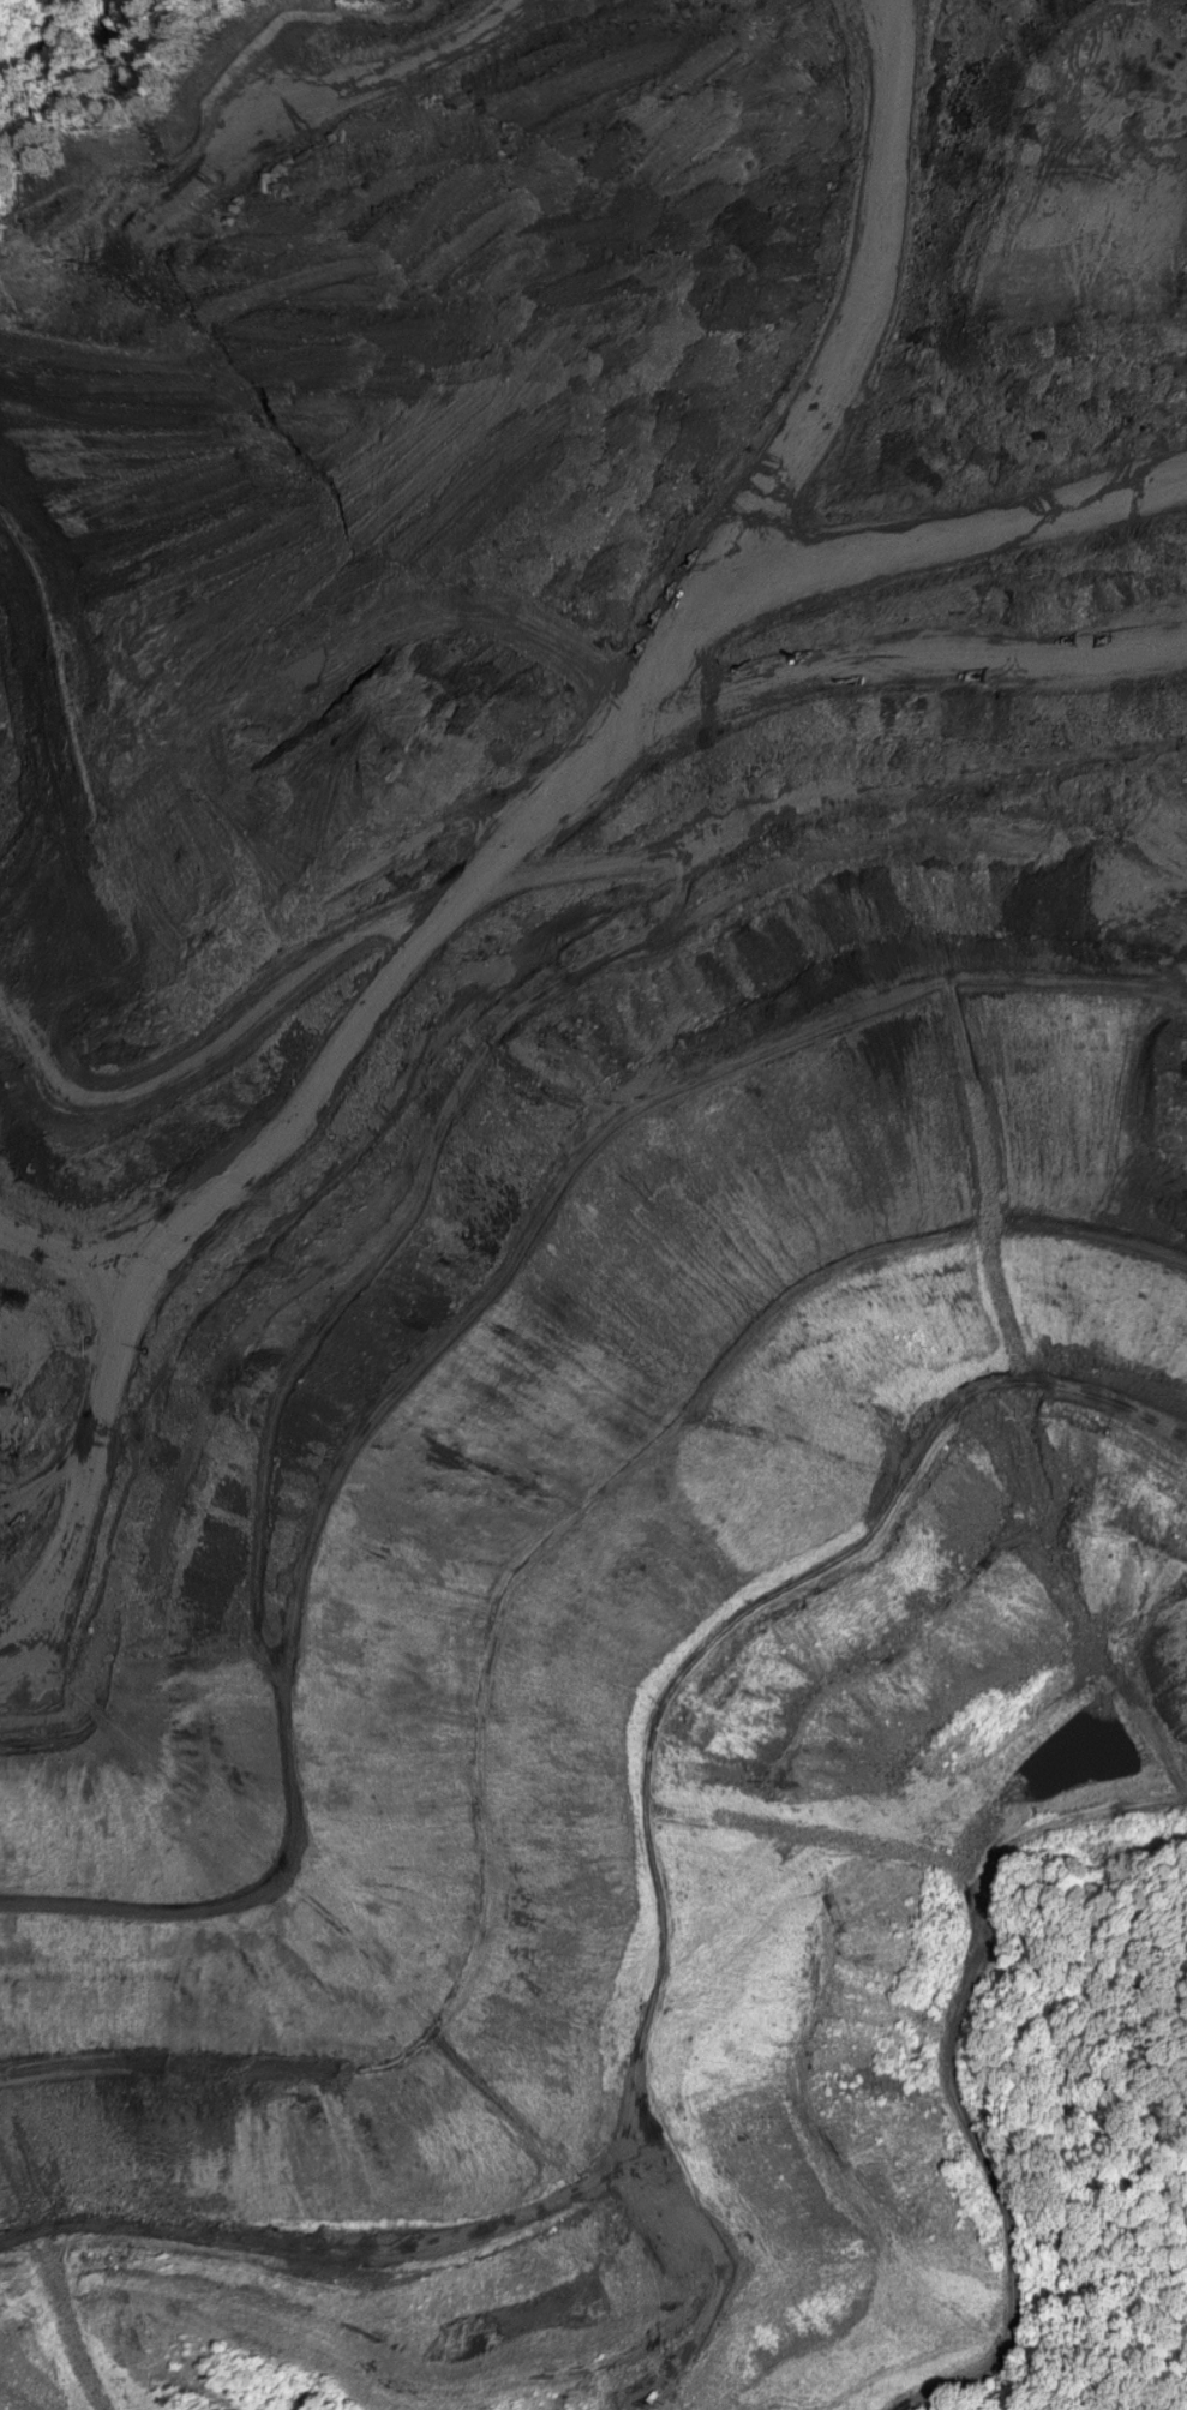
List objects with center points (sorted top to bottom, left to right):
quarry: (575, 1169)

